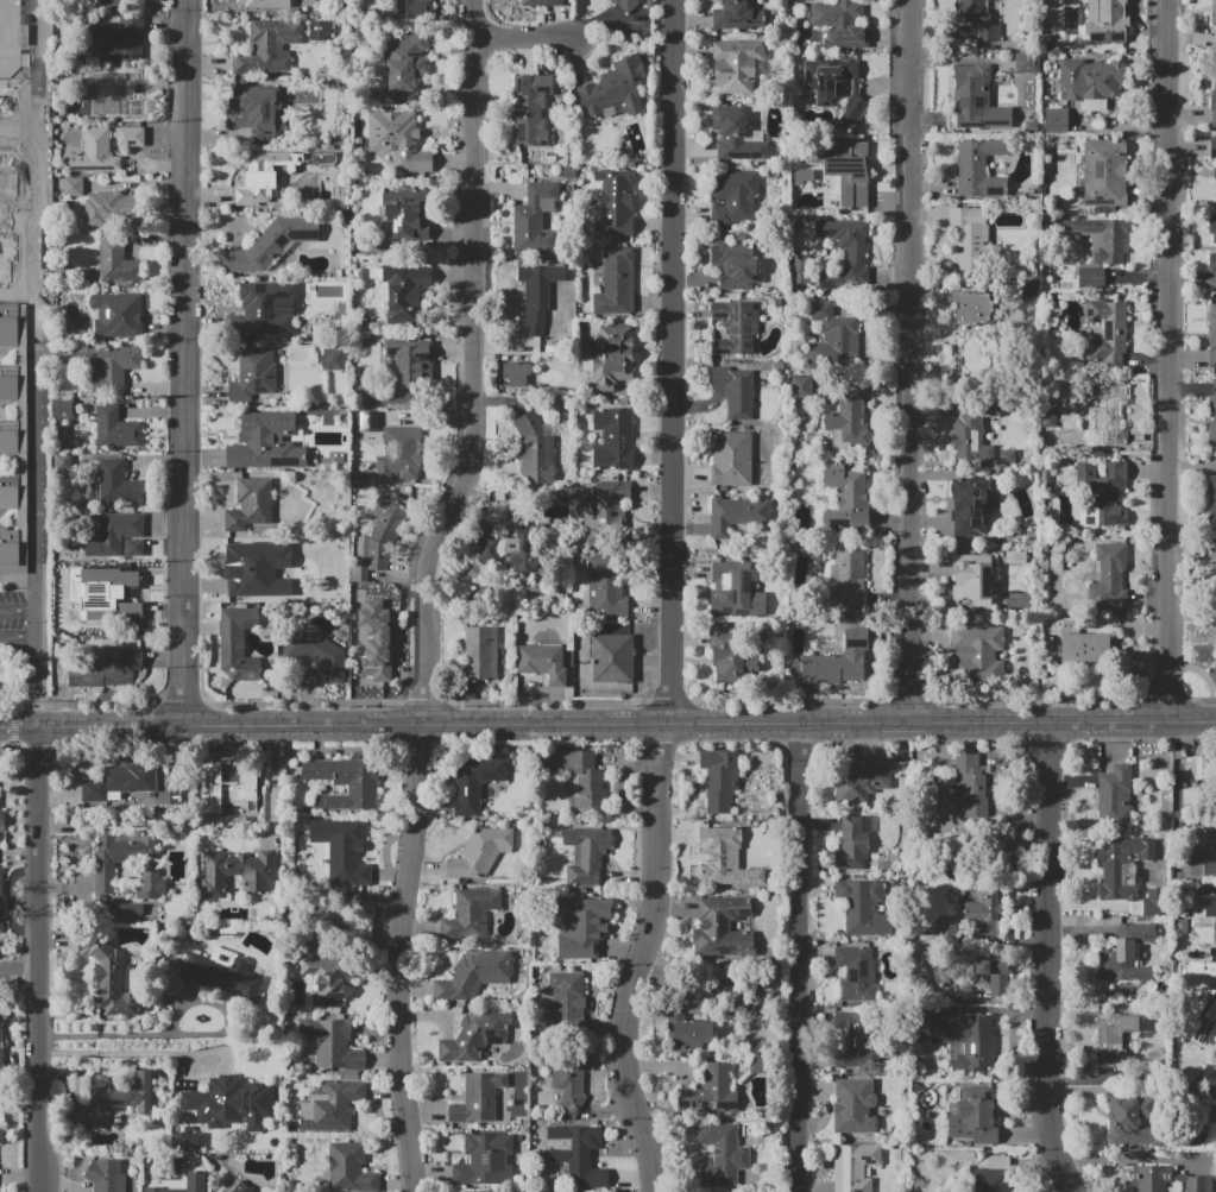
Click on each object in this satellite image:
building: (105, 2)
building: (263, 2)
building: (541, 2)
building: (625, 4)
building: (407, 8)
road: (37, 12)
building: (1214, 13)
building: (1105, 14)
building: (737, 15)
building: (978, 19)
building: (839, 24)
building: (317, 31)
park: (10, 38)
building: (119, 38)
road: (525, 42)
building: (269, 48)
building: (736, 58)
building: (402, 63)
building: (1027, 63)
building: (830, 78)
building: (1091, 82)
building: (615, 87)
building: (970, 94)
building: (102, 96)
road: (20, 97)
building: (1215, 101)
building: (530, 109)
road: (40, 111)
building: (253, 112)
building: (851, 112)
building: (1057, 120)
building: (6, 124)
building: (130, 137)
building: (737, 138)
building: (398, 140)
building: (1214, 149)
road: (20, 150)
building: (92, 153)
building: (978, 166)
building: (848, 168)
building: (1104, 172)
building: (1215, 172)
building: (258, 178)
building: (71, 185)
building: (732, 195)
building: (615, 202)
building: (114, 209)
building: (405, 210)
building: (4, 215)
building: (535, 219)
building: (1212, 228)
building: (1103, 238)
building: (971, 239)
building: (272, 244)
building: (844, 254)
building: (5, 257)
building: (116, 263)
building: (733, 264)
building: (1212, 264)
building: (800, 269)
building: (1090, 278)
building: (616, 282)
building: (1029, 291)
building: (404, 292)
building: (537, 294)
road: (11, 295)
road: (23, 304)
building: (263, 308)
building: (971, 308)
building: (116, 315)
building: (7, 324)
building: (735, 327)
building: (1108, 334)
building: (1212, 335)
building: (832, 336)
road: (11, 354)
building: (330, 357)
building: (612, 357)
road: (1168, 360)
road: (184, 361)
building: (408, 361)
road: (909, 361)
building: (108, 365)
road: (473, 366)
building: (516, 373)
building: (254, 376)
road: (33, 378)
building: (8, 383)
building: (804, 386)
building: (735, 390)
building: (20, 402)
building: (63, 409)
road: (11, 410)
building: (1107, 417)
building: (1211, 418)
building: (846, 420)
building: (115, 427)
building: (972, 428)
building: (8, 437)
building: (257, 440)
building: (613, 440)
building: (534, 450)
building: (398, 453)
building: (1006, 456)
building: (731, 459)
road: (11, 460)
building: (61, 461)
building: (1045, 475)
building: (115, 485)
building: (7, 492)
building: (1102, 494)
building: (846, 498)
building: (1211, 499)
building: (251, 503)
building: (968, 504)
building: (604, 505)
building: (736, 513)
building: (121, 525)
building: (384, 528)
building: (13, 544)
building: (134, 548)
building: (359, 548)
building: (489, 549)
building: (521, 549)
building: (1057, 555)
building: (250, 572)
building: (359, 573)
building: (1109, 576)
building: (845, 579)
building: (972, 579)
building: (606, 586)
building: (1215, 586)
building: (327, 588)
building: (736, 589)
building: (107, 594)
road: (669, 600)
building: (83, 612)
parking lot: (13, 623)
building: (1063, 625)
building: (376, 639)
building: (238, 643)
road: (34, 645)
building: (1084, 648)
building: (976, 651)
building: (315, 652)
building: (478, 654)
building: (730, 656)
building: (613, 657)
building: (542, 662)
building: (836, 664)
building: (107, 671)
road: (607, 704)
road: (541, 723)
road: (939, 723)
road: (209, 724)
building: (1195, 770)
building: (719, 777)
building: (861, 778)
building: (587, 781)
building: (118, 782)
building: (344, 782)
building: (474, 782)
road: (272, 784)
building: (970, 784)
building: (228, 786)
building: (1115, 793)
building: (1, 821)
building: (852, 841)
building: (1202, 846)
building: (346, 851)
building: (480, 853)
building: (586, 856)
building: (725, 858)
building: (1116, 869)
building: (103, 870)
building: (238, 871)
building: (1, 901)
building: (1152, 902)
building: (863, 908)
building: (984, 910)
building: (119, 912)
building: (470, 913)
building: (719, 923)
building: (1199, 925)
building: (579, 929)
building: (945, 929)
building: (1126, 954)
road: (397, 957)
road: (799, 957)
road: (1048, 959)
road: (44, 960)
building: (222, 972)
building: (857, 973)
building: (474, 975)
building: (994, 975)
building: (108, 977)
road: (21, 978)
building: (329, 979)
building: (566, 1003)
building: (1203, 1007)
building: (691, 1034)
building: (474, 1036)
building: (1114, 1038)
building: (968, 1039)
building: (852, 1040)
building: (333, 1045)
building: (0, 1048)
road: (126, 1051)
building: (567, 1078)
building: (708, 1092)
building: (478, 1097)
building: (116, 1099)
building: (231, 1103)
building: (329, 1106)
building: (853, 1106)
building: (982, 1106)
building: (1211, 1112)
building: (1133, 1121)
building: (0, 1134)
building: (190, 1139)
building: (722, 1154)
building: (575, 1155)
building: (481, 1158)
building: (855, 1167)
building: (351, 1168)
building: (106, 1174)
building: (994, 1175)
building: (1166, 1179)
building: (187, 1184)
building: (241, 1188)

